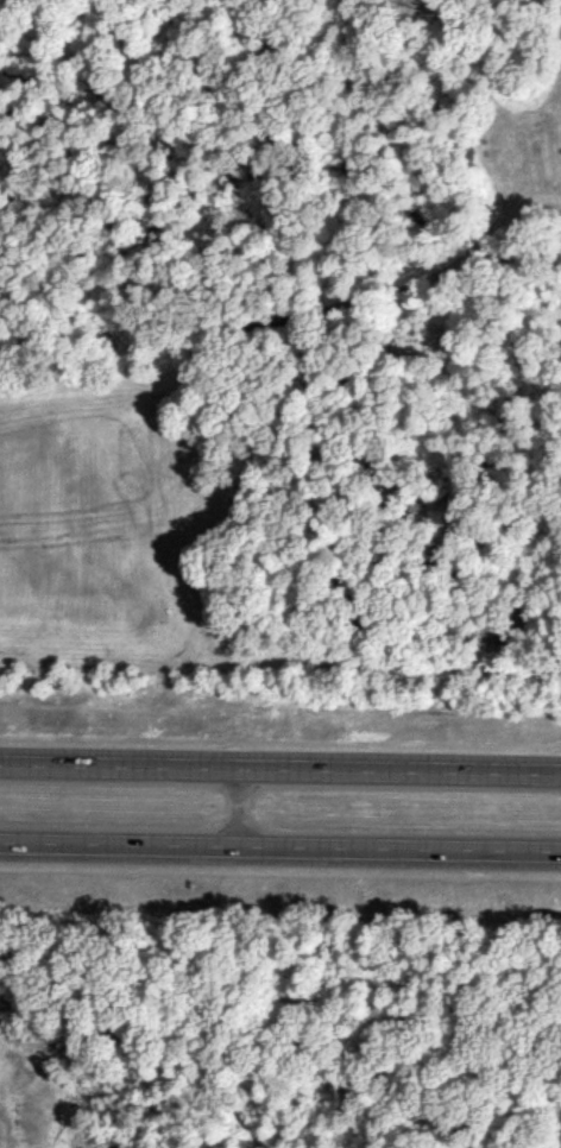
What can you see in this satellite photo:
crop: (280, 342)
road: (280, 765)
road: (241, 803)
road: (279, 843)

